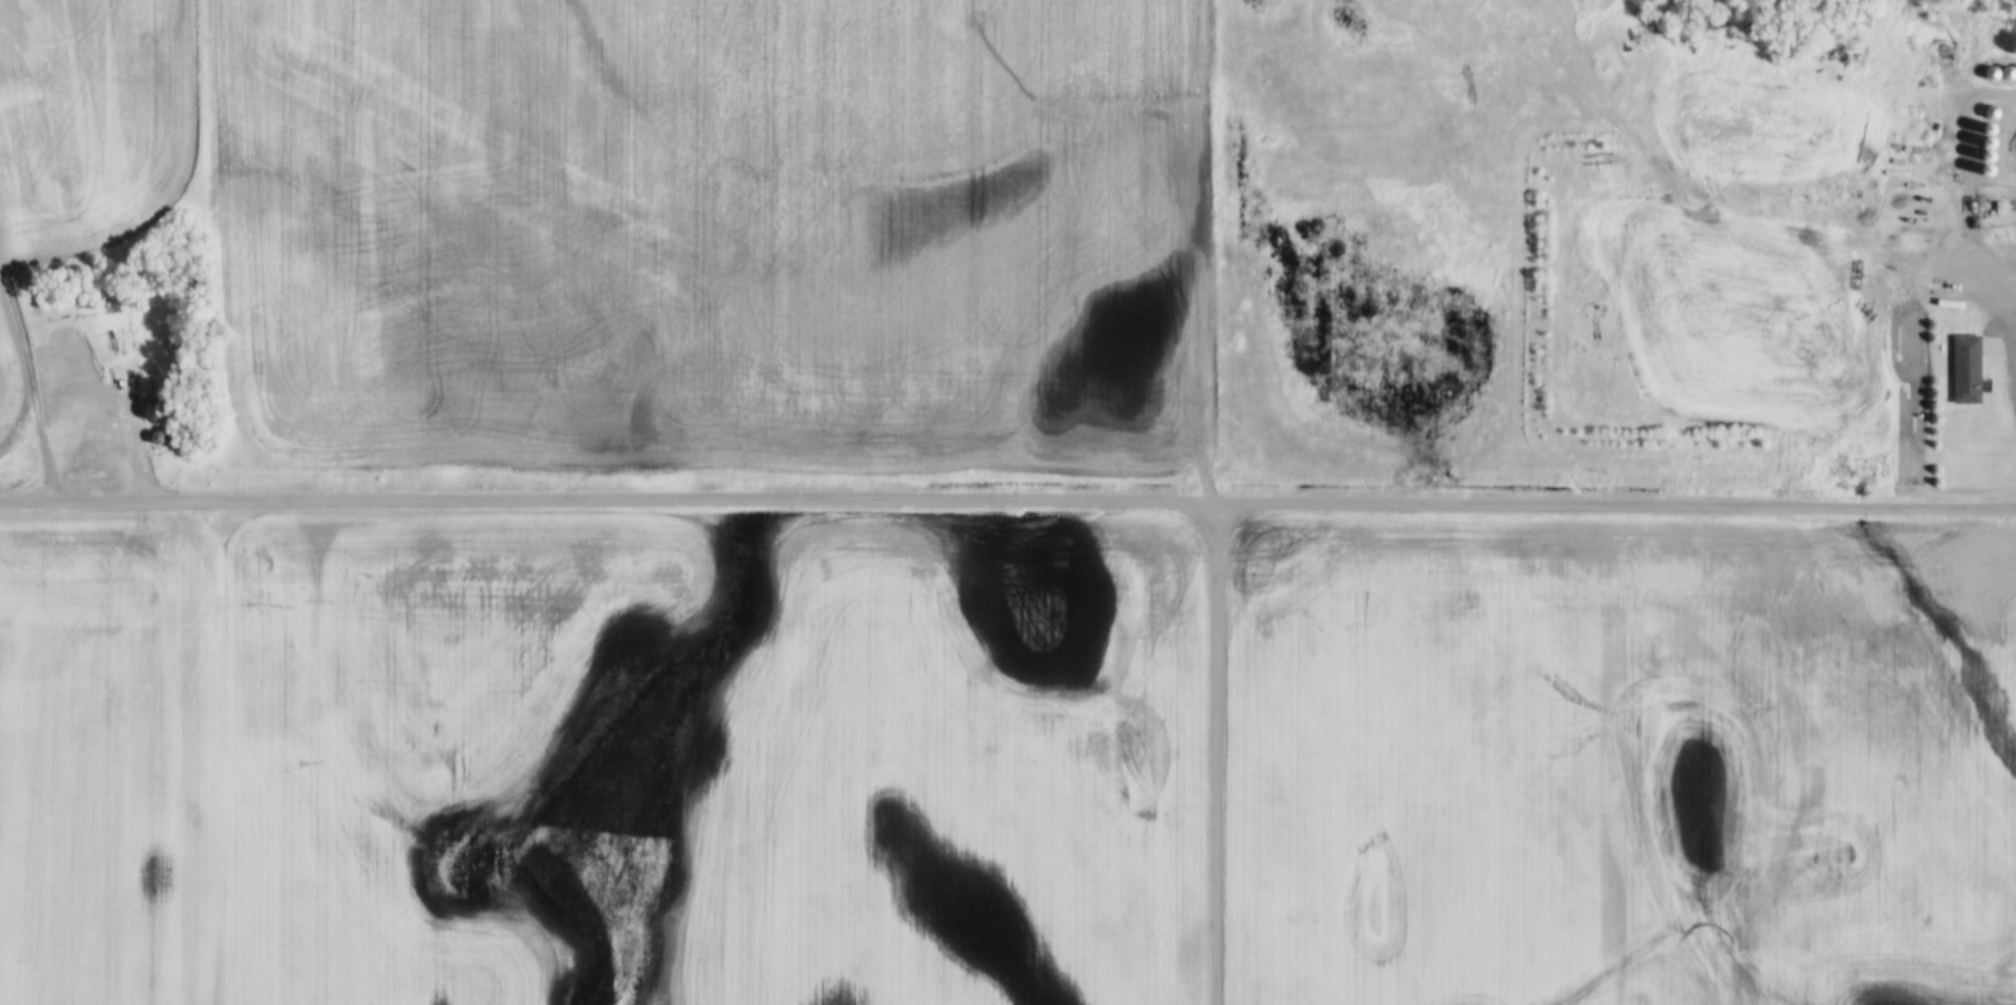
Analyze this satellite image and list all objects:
building: (1993, 75)
silo: (1993, 75)
building: (2009, 75)
silo: (2009, 75)
building: (1992, 114)
silo: (1992, 114)
building: (1993, 134)
silo: (1993, 134)
building: (1993, 149)
silo: (1993, 149)
building: (1993, 163)
silo: (1993, 163)
building: (1993, 177)
silo: (1993, 177)
building: (1995, 213)
building: (1969, 368)
road: (30, 381)
building: (148, 411)
building: (154, 439)
road: (1008, 500)
road: (1213, 753)

